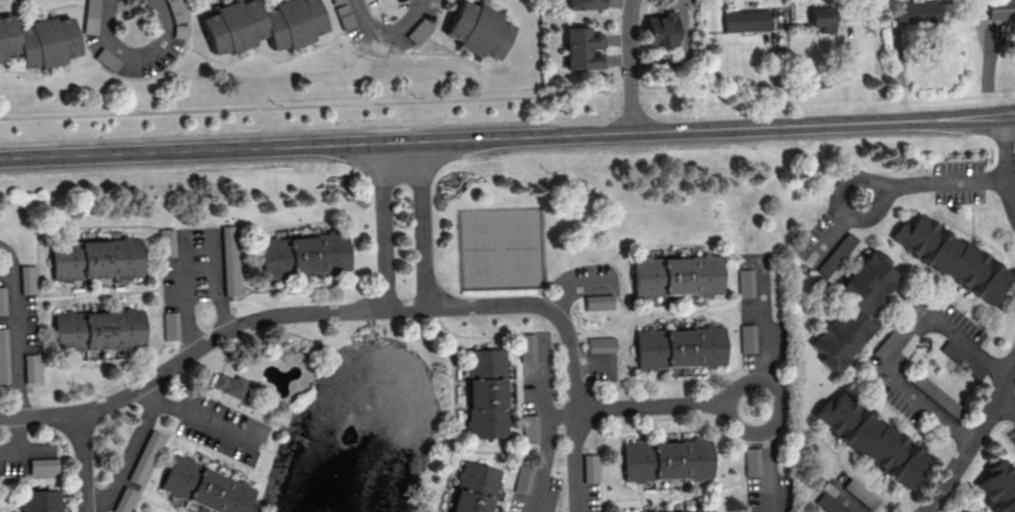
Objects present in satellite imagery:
building: (583, 4)
building: (1000, 10)
building: (817, 11)
building: (915, 13)
building: (671, 20)
building: (743, 21)
building: (822, 22)
building: (90, 26)
building: (261, 26)
road: (387, 31)
building: (659, 31)
building: (477, 32)
building: (38, 42)
building: (582, 48)
road: (135, 63)
road: (630, 65)
road: (773, 69)
road: (510, 97)
road: (507, 137)
road: (1006, 147)
road: (932, 182)
road: (1011, 185)
road: (422, 227)
road: (382, 230)
building: (167, 242)
road: (191, 242)
park: (501, 249)
building: (302, 257)
building: (230, 260)
building: (946, 260)
building: (95, 261)
building: (744, 275)
building: (675, 277)
building: (28, 279)
road: (572, 287)
building: (3, 300)
building: (598, 302)
road: (316, 311)
building: (850, 311)
building: (171, 325)
road: (16, 330)
building: (97, 332)
building: (746, 338)
road: (762, 338)
building: (600, 344)
building: (526, 347)
road: (902, 347)
building: (678, 349)
building: (4, 356)
building: (32, 368)
building: (229, 386)
building: (484, 395)
road: (1007, 399)
road: (664, 409)
road: (194, 416)
building: (529, 428)
road: (973, 437)
road: (18, 440)
building: (867, 440)
road: (543, 454)
building: (146, 456)
road: (126, 459)
road: (769, 459)
road: (575, 461)
building: (751, 461)
road: (82, 462)
building: (665, 462)
building: (44, 465)
building: (590, 467)
building: (524, 474)
building: (201, 488)
building: (996, 489)
building: (473, 490)
building: (125, 500)
building: (38, 501)
building: (694, 511)

